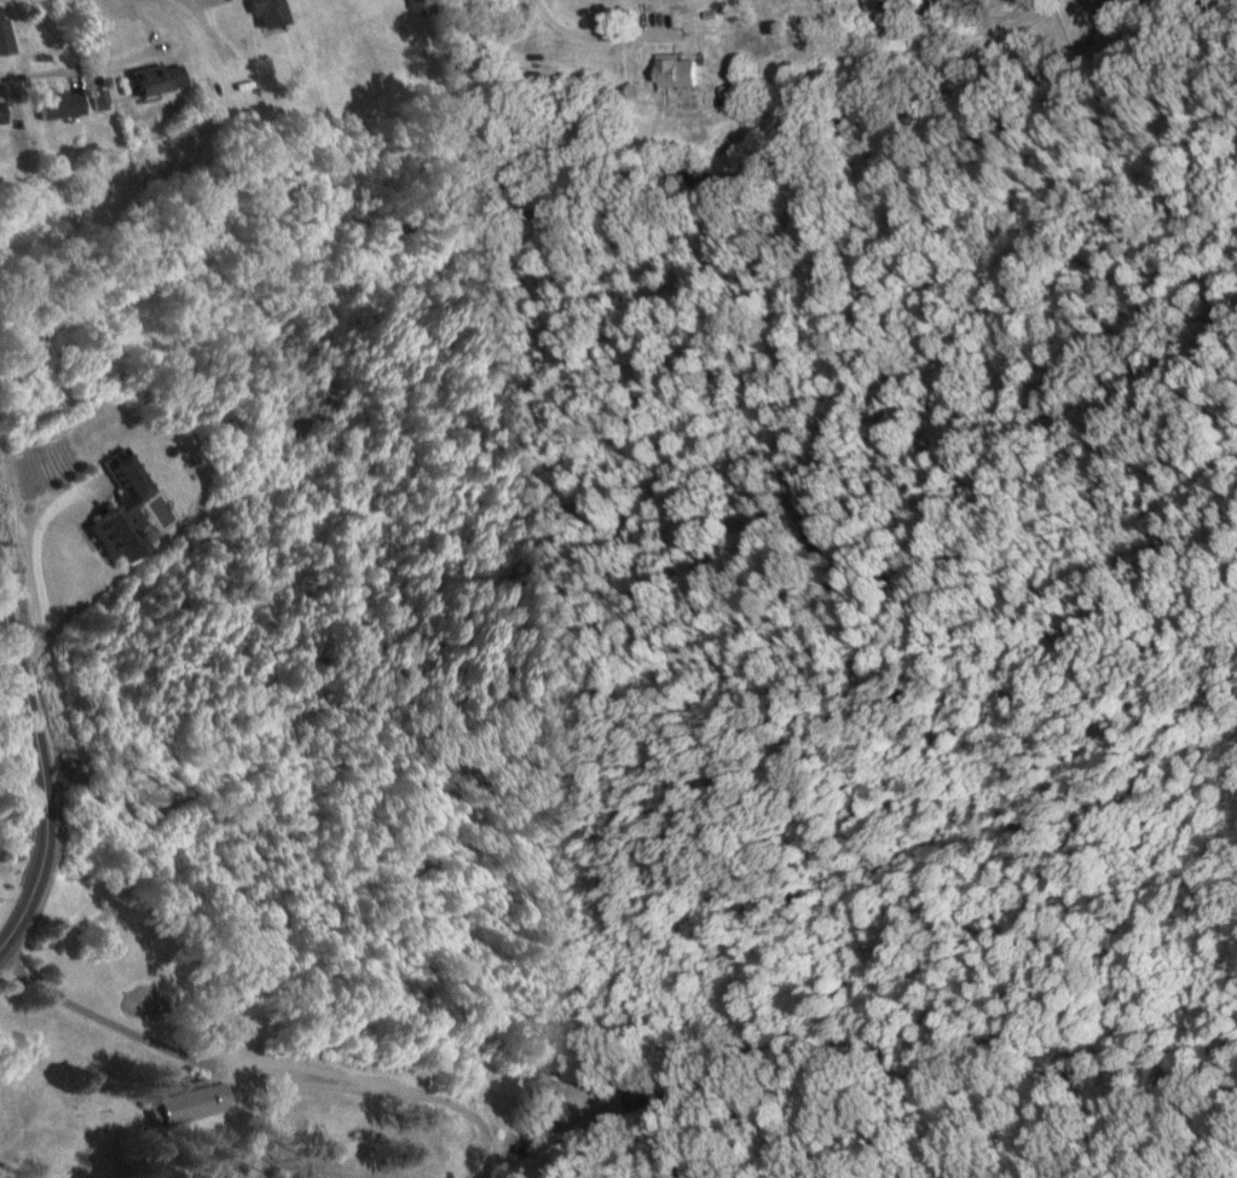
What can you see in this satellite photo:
building: (933, 0)
building: (881, 4)
building: (276, 11)
building: (6, 30)
road: (42, 71)
building: (684, 71)
building: (164, 77)
building: (67, 103)
building: (5, 111)
road: (1193, 250)
building: (125, 512)
road: (40, 776)
road: (259, 1074)
building: (203, 1102)

